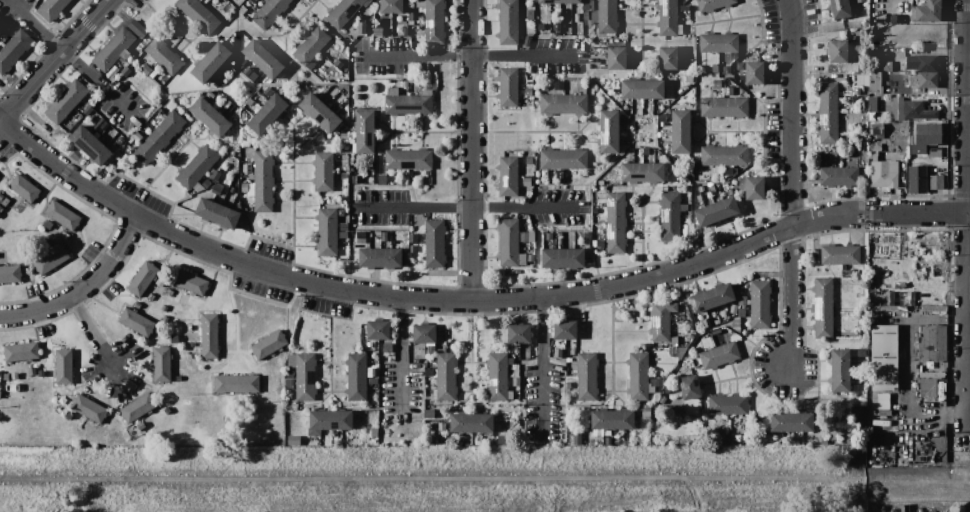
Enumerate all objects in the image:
building: (255, 0)
building: (560, 1)
building: (862, 1)
building: (916, 2)
building: (713, 4)
building: (391, 6)
building: (685, 8)
building: (843, 8)
building: (52, 9)
building: (929, 11)
building: (269, 12)
building: (343, 13)
building: (531, 14)
building: (199, 15)
building: (586, 15)
building: (412, 16)
building: (577, 17)
building: (594, 17)
building: (607, 17)
building: (667, 17)
building: (893, 18)
building: (433, 20)
building: (508, 21)
building: (411, 23)
building: (541, 25)
building: (138, 28)
building: (361, 28)
building: (377, 28)
building: (557, 28)
building: (680, 29)
building: (405, 31)
building: (4, 37)
building: (145, 40)
building: (527, 40)
building: (718, 42)
building: (229, 44)
building: (311, 46)
building: (115, 48)
building: (436, 48)
building: (14, 50)
building: (597, 51)
building: (602, 51)
building: (840, 51)
building: (164, 55)
road: (468, 55)
building: (687, 56)
road: (70, 57)
building: (668, 57)
building: (263, 58)
building: (617, 58)
road: (53, 59)
building: (211, 62)
building: (337, 62)
building: (312, 63)
building: (340, 65)
building: (740, 65)
building: (887, 66)
building: (681, 67)
building: (424, 68)
building: (431, 68)
building: (715, 68)
building: (862, 68)
building: (924, 69)
building: (125, 70)
building: (247, 71)
building: (113, 72)
building: (754, 72)
building: (219, 74)
building: (251, 76)
building: (224, 78)
building: (913, 81)
building: (164, 82)
building: (406, 82)
building: (874, 82)
building: (717, 83)
building: (559, 85)
building: (583, 86)
building: (508, 87)
building: (642, 89)
building: (667, 90)
building: (856, 90)
building: (528, 91)
building: (728, 91)
building: (210, 94)
building: (66, 101)
building: (249, 101)
building: (408, 102)
building: (563, 104)
building: (873, 104)
building: (860, 105)
building: (724, 106)
building: (879, 107)
building: (626, 108)
building: (898, 108)
building: (86, 109)
building: (658, 109)
building: (918, 110)
building: (640, 111)
road: (792, 111)
building: (319, 112)
building: (162, 114)
building: (267, 114)
building: (828, 114)
building: (77, 116)
building: (210, 116)
building: (244, 116)
building: (161, 118)
building: (662, 124)
building: (68, 125)
building: (104, 125)
building: (90, 126)
building: (878, 129)
building: (609, 131)
building: (680, 131)
building: (365, 132)
building: (113, 133)
building: (928, 133)
building: (96, 134)
building: (659, 134)
building: (343, 136)
building: (159, 137)
building: (913, 139)
building: (120, 140)
building: (130, 140)
building: (90, 145)
building: (109, 145)
building: (872, 147)
road: (472, 150)
building: (645, 150)
building: (934, 152)
building: (906, 154)
building: (724, 155)
building: (833, 155)
building: (877, 155)
building: (408, 159)
building: (563, 159)
building: (529, 160)
building: (197, 166)
building: (245, 167)
building: (343, 168)
building: (689, 169)
building: (323, 170)
building: (526, 170)
building: (729, 171)
building: (735, 171)
building: (642, 172)
building: (549, 173)
building: (884, 173)
building: (704, 174)
building: (215, 175)
building: (342, 176)
building: (508, 176)
building: (839, 176)
building: (400, 178)
building: (357, 179)
building: (382, 179)
building: (918, 179)
building: (427, 180)
building: (571, 180)
building: (584, 180)
building: (263, 181)
building: (527, 181)
building: (532, 181)
building: (600, 182)
building: (936, 182)
building: (206, 183)
building: (198, 186)
building: (729, 186)
building: (245, 187)
building: (753, 187)
building: (24, 188)
building: (603, 188)
building: (665, 188)
building: (701, 188)
building: (712, 188)
building: (216, 189)
building: (233, 190)
building: (729, 191)
building: (1, 196)
building: (699, 198)
building: (5, 201)
building: (12, 205)
road: (466, 207)
building: (684, 207)
building: (1, 208)
building: (20, 209)
building: (716, 211)
building: (217, 213)
road: (917, 213)
road: (969, 213)
building: (63, 215)
road: (828, 215)
building: (670, 216)
road: (968, 219)
building: (44, 220)
building: (615, 223)
building: (343, 227)
building: (327, 232)
building: (377, 233)
building: (560, 234)
building: (343, 235)
building: (384, 236)
building: (360, 237)
building: (524, 237)
building: (413, 238)
building: (583, 238)
building: (422, 242)
building: (508, 242)
building: (434, 243)
building: (560, 243)
building: (600, 243)
building: (413, 249)
building: (840, 253)
building: (380, 257)
building: (531, 257)
building: (563, 258)
building: (51, 259)
road: (109, 261)
building: (10, 273)
building: (142, 278)
building: (872, 278)
building: (190, 282)
building: (170, 293)
road: (380, 295)
road: (792, 295)
building: (151, 296)
building: (712, 297)
building: (742, 300)
building: (878, 301)
building: (884, 301)
building: (747, 302)
building: (759, 304)
building: (164, 308)
building: (823, 308)
building: (733, 309)
road: (37, 311)
building: (741, 312)
building: (712, 314)
building: (676, 317)
building: (166, 319)
building: (661, 320)
building: (875, 320)
building: (717, 321)
building: (136, 322)
building: (706, 323)
building: (736, 324)
building: (189, 327)
building: (689, 327)
building: (378, 330)
building: (565, 330)
building: (720, 331)
building: (533, 332)
building: (424, 333)
building: (519, 333)
road: (94, 334)
building: (209, 335)
building: (171, 338)
building: (674, 340)
building: (932, 342)
building: (193, 344)
building: (269, 344)
building: (371, 344)
building: (419, 345)
building: (525, 346)
building: (388, 347)
building: (431, 350)
building: (572, 350)
building: (21, 351)
building: (677, 351)
road: (402, 354)
building: (719, 355)
building: (192, 356)
building: (884, 357)
building: (92, 358)
building: (866, 358)
building: (569, 359)
building: (417, 361)
building: (510, 361)
building: (162, 363)
building: (291, 363)
road: (541, 364)
building: (63, 366)
building: (32, 370)
building: (840, 370)
building: (937, 370)
building: (270, 371)
building: (429, 372)
building: (516, 372)
building: (14, 375)
building: (934, 375)
building: (6, 376)
building: (305, 376)
building: (358, 376)
building: (498, 376)
building: (587, 376)
building: (638, 376)
building: (178, 377)
building: (446, 377)
building: (373, 381)
building: (516, 381)
building: (656, 382)
building: (236, 383)
building: (290, 383)
building: (917, 383)
building: (568, 385)
building: (690, 386)
building: (929, 386)
building: (901, 387)
building: (510, 395)
building: (889, 397)
building: (662, 399)
building: (728, 404)
building: (64, 405)
building: (892, 405)
building: (138, 407)
building: (89, 408)
building: (167, 410)
building: (642, 410)
building: (675, 410)
building: (885, 410)
building: (858, 412)
building: (429, 413)
building: (885, 418)
building: (612, 419)
building: (227, 420)
building: (329, 421)
building: (792, 422)
building: (473, 423)
building: (892, 425)
building: (441, 426)
building: (447, 426)
building: (598, 431)
building: (374, 432)
building: (334, 433)
building: (720, 435)
building: (940, 435)
building: (577, 438)
building: (294, 440)
building: (918, 440)
building: (478, 441)
building: (467, 442)
building: (608, 442)
building: (626, 442)
building: (616, 443)

